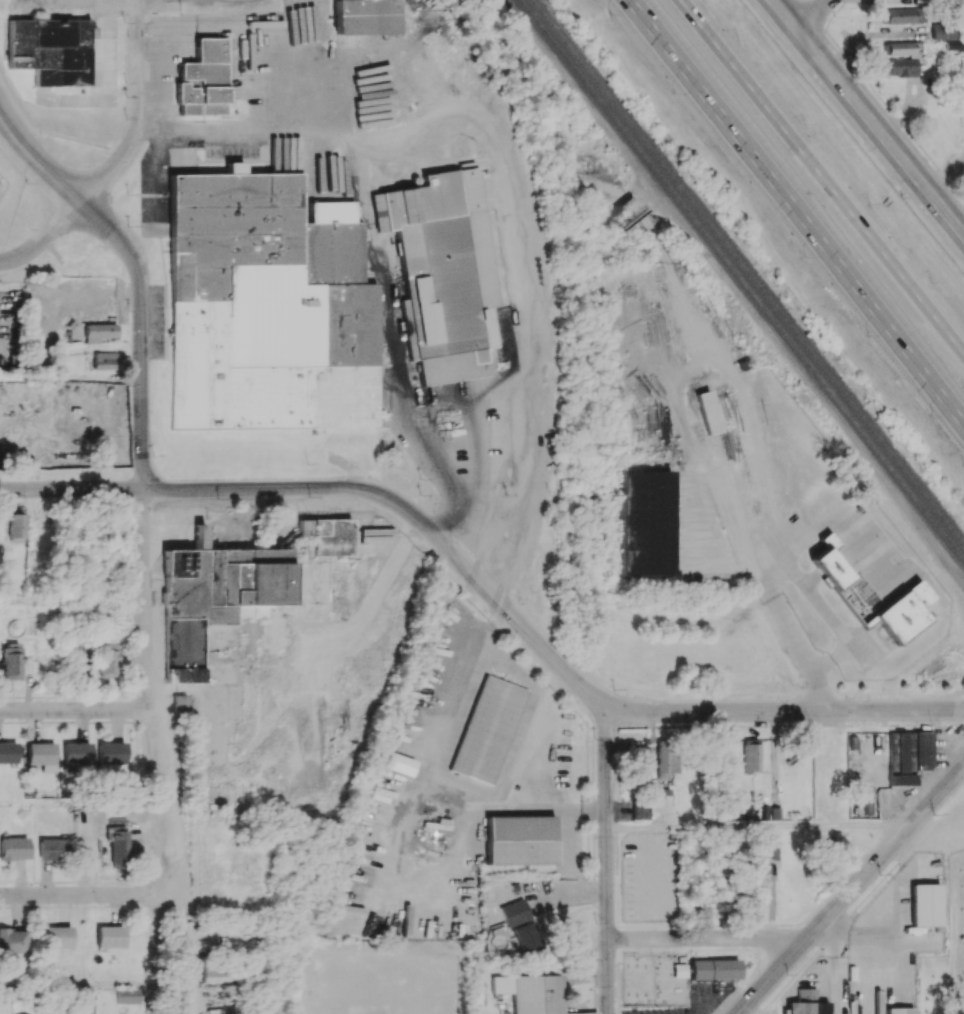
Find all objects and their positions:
road: (811, 13)
building: (365, 17)
building: (939, 30)
building: (904, 48)
building: (51, 50)
building: (901, 67)
building: (203, 79)
road: (136, 111)
road: (869, 115)
road: (36, 160)
road: (822, 176)
road: (947, 177)
road: (797, 211)
road: (42, 237)
railway: (748, 271)
building: (443, 273)
railway: (743, 279)
road: (736, 291)
building: (269, 307)
building: (99, 331)
road: (140, 332)
building: (104, 360)
road: (70, 377)
road: (489, 396)
building: (708, 412)
road: (474, 438)
road: (478, 481)
road: (71, 488)
road: (261, 488)
building: (649, 522)
building: (17, 526)
building: (328, 535)
building: (849, 589)
building: (213, 596)
road: (71, 601)
building: (252, 611)
building: (903, 612)
road: (805, 656)
road: (503, 659)
building: (106, 660)
building: (12, 662)
road: (719, 698)
building: (179, 702)
road: (74, 710)
road: (629, 710)
building: (488, 729)
road: (155, 750)
building: (922, 750)
building: (8, 752)
building: (110, 752)
building: (76, 753)
building: (41, 755)
building: (751, 755)
building: (901, 757)
building: (665, 758)
building: (399, 763)
building: (639, 763)
road: (442, 770)
road: (82, 802)
road: (547, 804)
building: (639, 809)
road: (761, 822)
building: (520, 840)
building: (117, 846)
building: (13, 848)
building: (52, 849)
road: (606, 858)
building: (759, 877)
road: (851, 890)
building: (720, 893)
road: (81, 895)
building: (925, 904)
building: (512, 912)
park: (962, 927)
road: (954, 932)
building: (58, 936)
building: (110, 936)
building: (526, 937)
road: (706, 937)
park: (955, 938)
building: (12, 941)
road: (862, 941)
building: (715, 968)
building: (305, 969)
building: (214, 973)
road: (80, 989)
building: (531, 993)
building: (127, 995)
building: (806, 1003)
building: (899, 1010)

